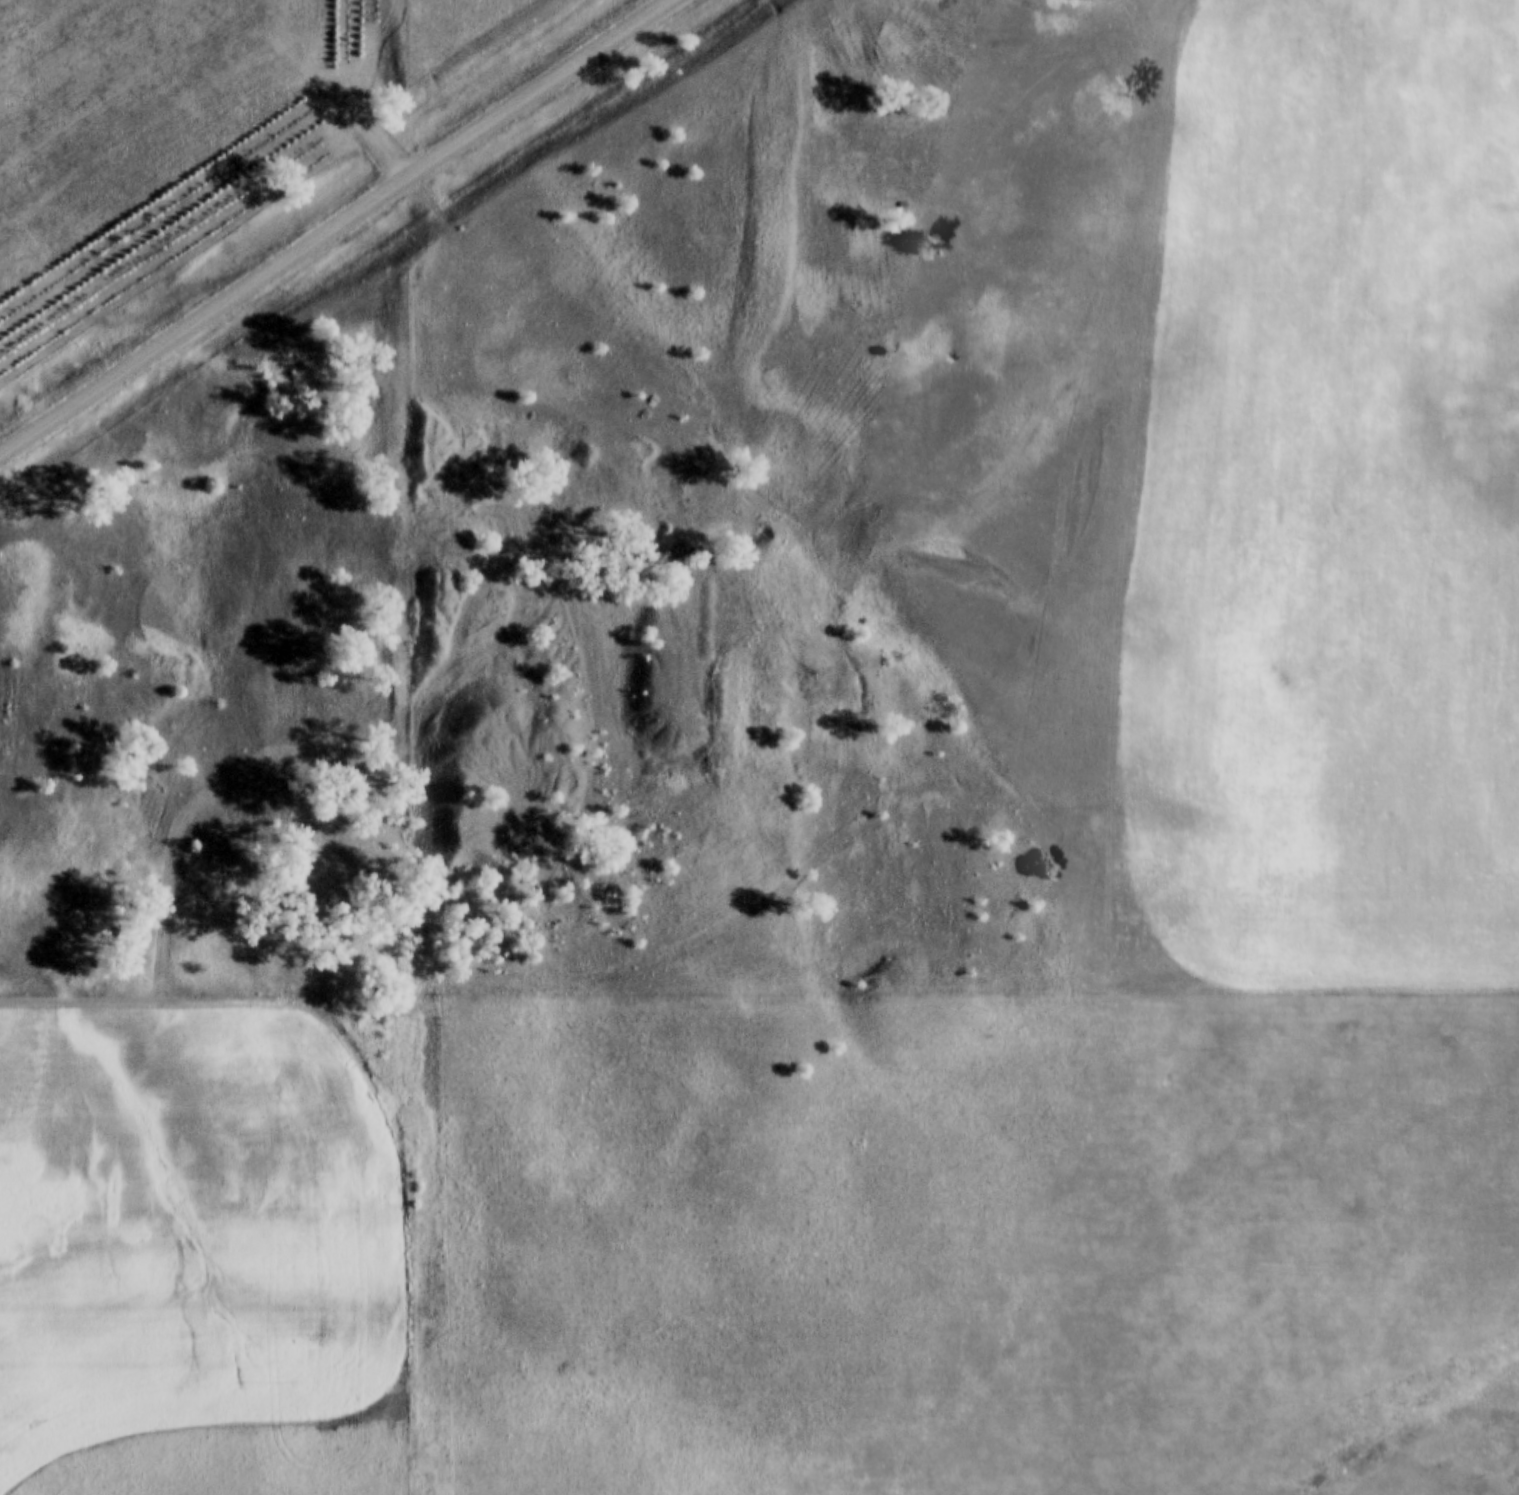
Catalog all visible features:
road: (331, 225)
road: (597, 822)

